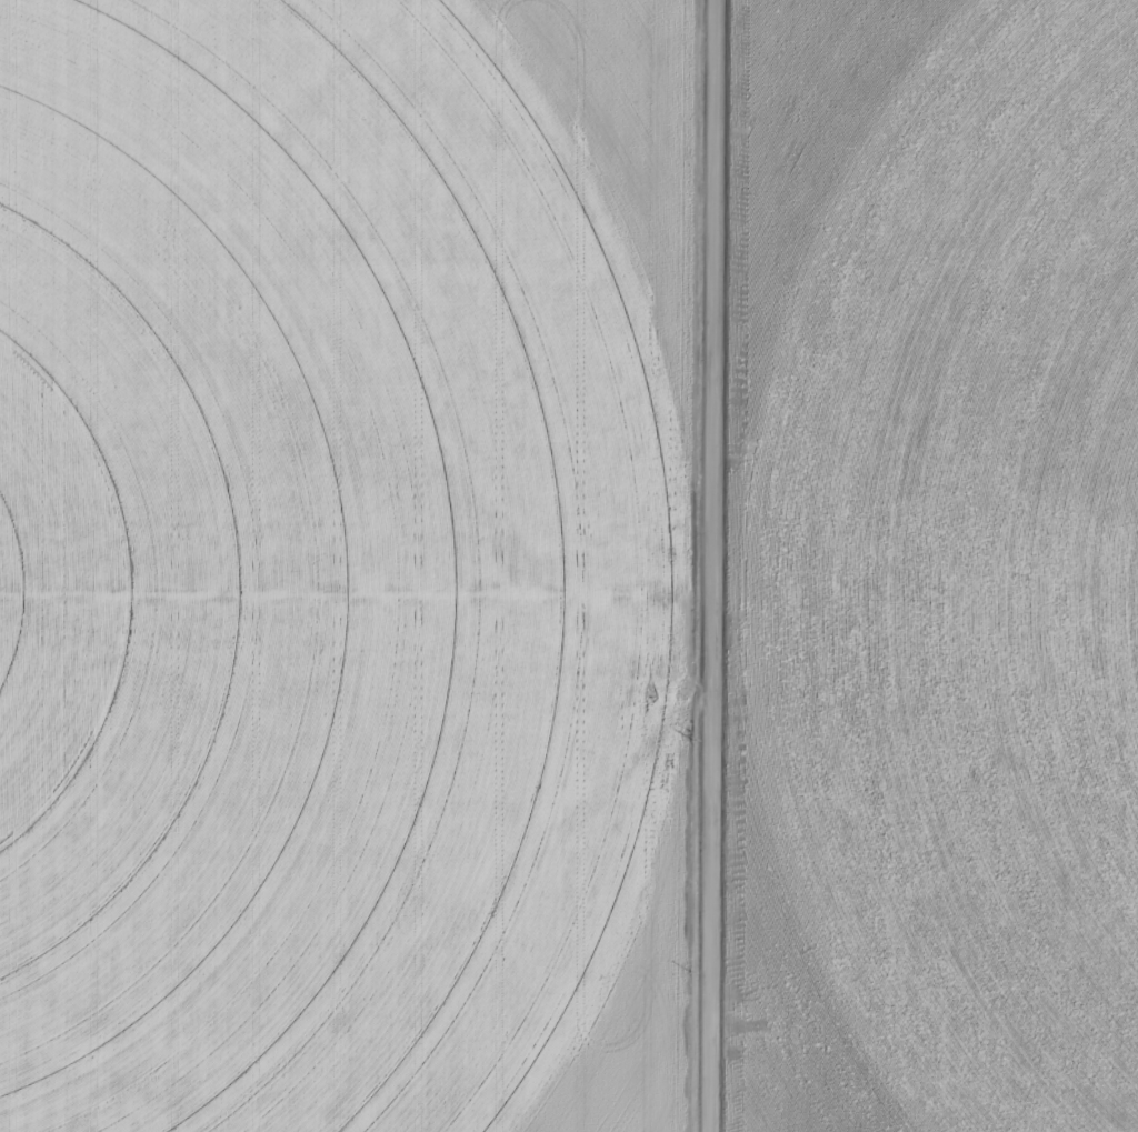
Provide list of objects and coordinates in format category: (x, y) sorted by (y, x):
road: (692, 565)

